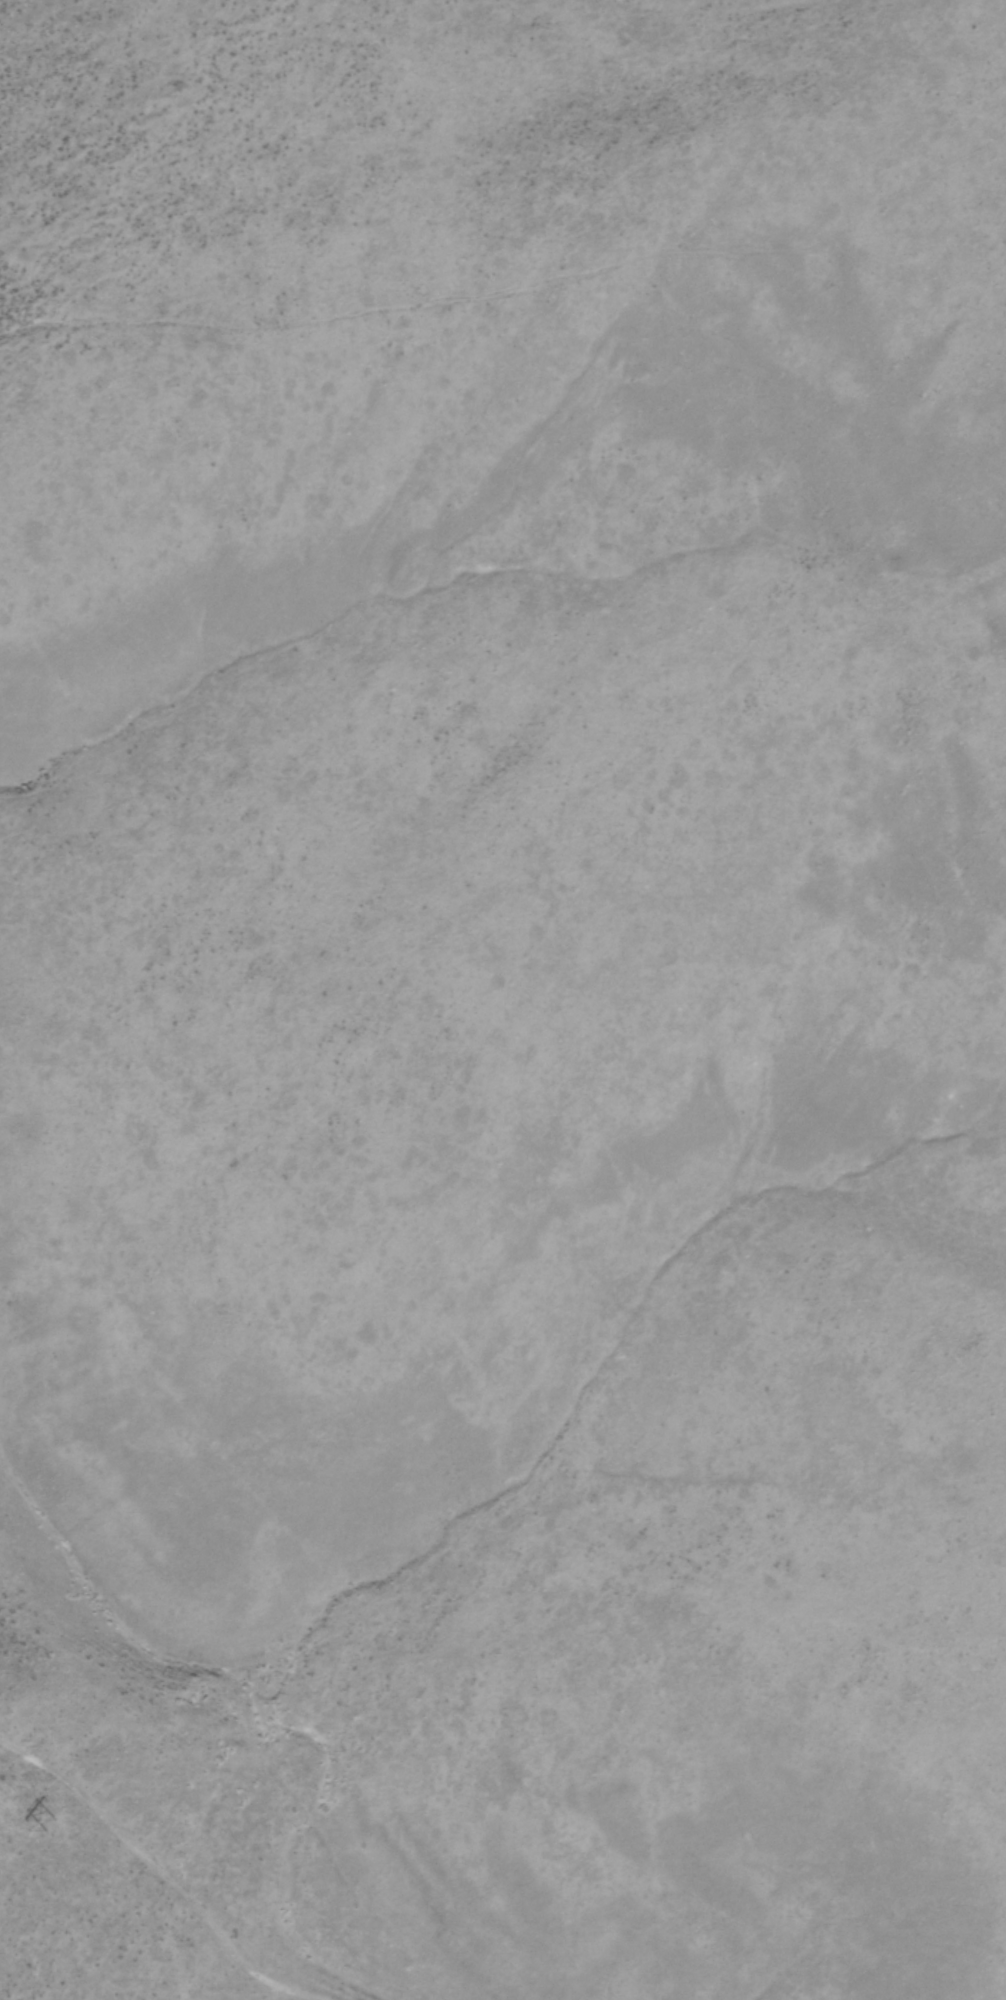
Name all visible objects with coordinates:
power tower: (50, 1825)
road: (159, 1865)

